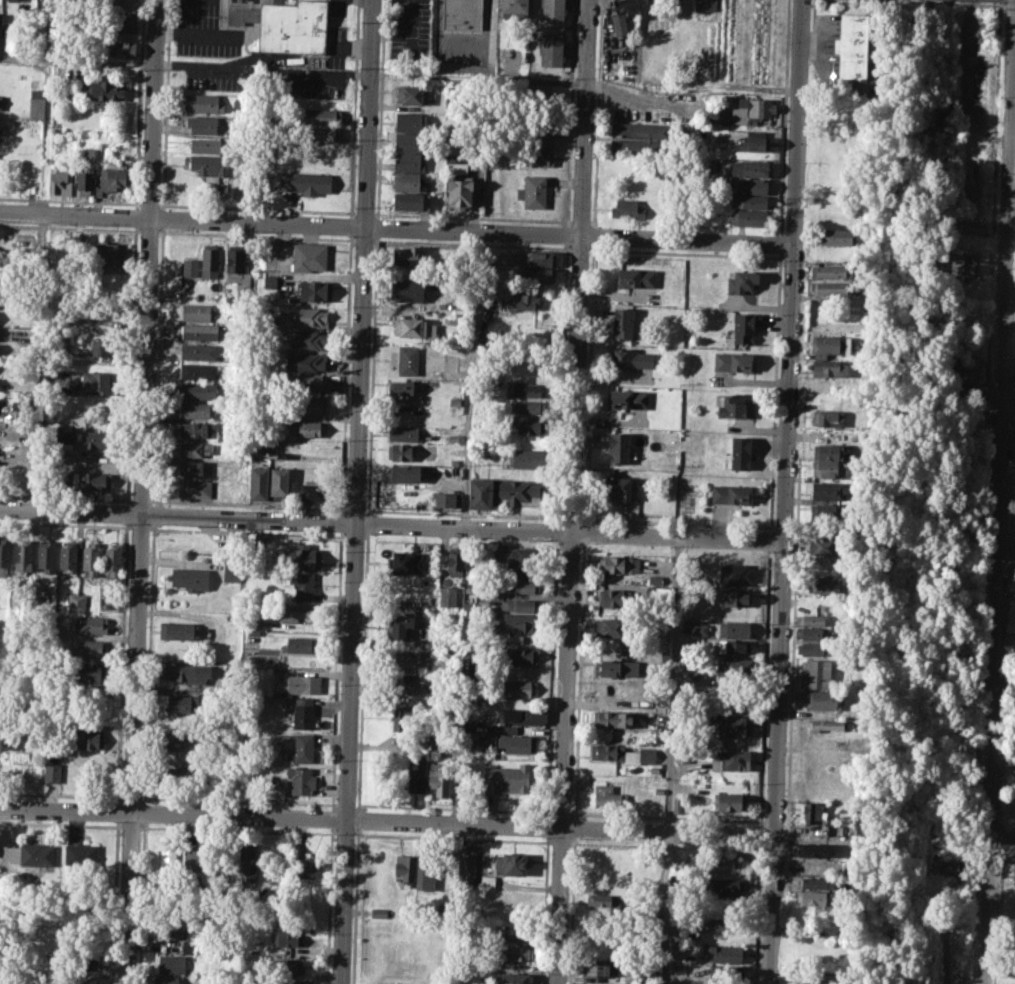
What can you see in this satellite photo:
building: (13, 0)
building: (705, 5)
building: (627, 6)
parking lot: (337, 7)
building: (514, 8)
building: (552, 9)
building: (462, 14)
building: (123, 20)
building: (619, 22)
building: (284, 25)
parking lot: (206, 27)
parking lot: (409, 35)
building: (852, 45)
parking lot: (336, 46)
building: (123, 48)
building: (551, 48)
road: (77, 60)
road: (263, 69)
parking lot: (269, 79)
road: (588, 85)
building: (61, 88)
building: (104, 90)
building: (536, 93)
building: (412, 95)
building: (0, 102)
building: (204, 102)
building: (37, 103)
road: (380, 108)
building: (757, 108)
building: (319, 115)
road: (784, 116)
building: (411, 121)
building: (203, 125)
building: (639, 130)
building: (323, 134)
building: (534, 140)
building: (409, 142)
building: (752, 142)
building: (205, 146)
building: (639, 147)
building: (90, 151)
road: (478, 155)
building: (534, 158)
building: (409, 162)
building: (632, 166)
building: (209, 167)
building: (457, 167)
building: (749, 167)
building: (84, 180)
building: (111, 180)
building: (57, 181)
building: (406, 181)
building: (304, 182)
building: (751, 185)
building: (533, 191)
building: (459, 193)
building: (408, 201)
building: (748, 201)
building: (627, 209)
building: (748, 217)
building: (974, 226)
road: (377, 227)
road: (397, 227)
building: (836, 236)
road: (780, 243)
road: (1011, 249)
building: (107, 253)
building: (409, 255)
building: (308, 257)
building: (539, 258)
building: (210, 260)
building: (190, 266)
building: (960, 266)
building: (829, 271)
building: (238, 273)
building: (540, 275)
building: (636, 277)
building: (269, 280)
building: (742, 281)
building: (831, 287)
building: (314, 289)
building: (410, 290)
building: (525, 300)
building: (197, 311)
building: (310, 316)
building: (622, 322)
building: (742, 327)
building: (414, 328)
building: (199, 331)
building: (311, 340)
building: (826, 345)
building: (102, 348)
building: (199, 351)
building: (408, 359)
building: (631, 359)
building: (307, 362)
building: (733, 362)
building: (828, 368)
building: (197, 371)
building: (959, 373)
road: (373, 375)
road: (468, 378)
building: (311, 381)
building: (95, 382)
building: (403, 387)
building: (525, 389)
building: (198, 390)
road: (775, 392)
building: (959, 392)
building: (627, 398)
building: (310, 405)
building: (528, 406)
building: (732, 406)
building: (196, 409)
building: (828, 418)
building: (530, 424)
building: (307, 428)
building: (197, 429)
building: (403, 433)
building: (64, 434)
building: (454, 437)
building: (92, 439)
building: (618, 447)
building: (194, 448)
building: (400, 451)
building: (828, 451)
building: (738, 454)
building: (527, 458)
building: (235, 463)
building: (191, 468)
building: (827, 468)
building: (311, 470)
building: (403, 473)
building: (279, 480)
building: (94, 481)
building: (258, 483)
building: (622, 487)
building: (193, 488)
building: (826, 490)
building: (312, 491)
road: (141, 492)
road: (358, 492)
road: (576, 492)
road: (785, 492)
building: (521, 493)
building: (481, 494)
building: (730, 494)
building: (444, 499)
road: (997, 504)
building: (825, 512)
road: (368, 522)
road: (392, 524)
road: (770, 540)
building: (824, 545)
road: (1005, 553)
building: (4, 554)
building: (22, 556)
building: (45, 556)
building: (68, 556)
building: (522, 556)
building: (302, 557)
building: (90, 558)
building: (112, 559)
building: (406, 562)
building: (455, 563)
building: (616, 563)
building: (232, 570)
building: (522, 573)
building: (735, 573)
building: (188, 578)
building: (822, 583)
building: (302, 585)
building: (526, 587)
building: (447, 596)
building: (734, 598)
building: (616, 599)
building: (76, 600)
building: (517, 604)
building: (295, 611)
building: (815, 616)
building: (253, 619)
building: (515, 621)
building: (93, 623)
building: (400, 626)
building: (614, 628)
building: (700, 629)
building: (734, 629)
building: (181, 630)
building: (810, 633)
building: (517, 639)
building: (301, 644)
building: (733, 647)
building: (90, 648)
building: (811, 648)
building: (521, 654)
building: (411, 660)
building: (612, 668)
building: (736, 669)
building: (179, 671)
road: (363, 671)
building: (90, 672)
building: (815, 673)
building: (296, 683)
building: (409, 684)
building: (519, 687)
road: (765, 687)
building: (613, 692)
building: (733, 699)
building: (822, 699)
building: (180, 704)
building: (659, 707)
building: (302, 713)
building: (524, 716)
building: (402, 718)
building: (612, 719)
building: (824, 724)
building: (732, 726)
building: (89, 738)
building: (181, 739)
building: (474, 741)
building: (519, 743)
building: (301, 748)
building: (622, 754)
road: (670, 759)
building: (733, 759)
building: (52, 772)
building: (416, 775)
building: (178, 776)
building: (439, 777)
building: (507, 777)
building: (300, 779)
building: (608, 795)
building: (730, 801)
building: (677, 804)
building: (812, 813)
road: (359, 818)
road: (385, 819)
building: (835, 829)
road: (760, 834)
road: (1001, 834)
building: (814, 847)
building: (36, 854)
building: (80, 854)
building: (193, 858)
building: (247, 862)
building: (167, 864)
building: (510, 864)
building: (465, 865)
building: (811, 866)
building: (944, 866)
building: (405, 871)
building: (426, 872)
building: (306, 873)
building: (1013, 875)
building: (487, 881)
building: (815, 882)
building: (726, 887)
building: (813, 897)
building: (602, 900)
road: (355, 905)
building: (379, 913)
building: (84, 915)
road: (757, 915)
building: (712, 922)
building: (171, 931)
building: (512, 932)
building: (286, 936)
building: (187, 944)
building: (517, 953)
building: (724, 953)
building: (80, 958)
building: (811, 959)
building: (170, 963)
building: (1012, 965)
building: (286, 966)
building: (600, 968)
building: (726, 973)
building: (631, 976)
building: (820, 976)
building: (513, 978)
building: (167, 980)
building: (297, 982)
building: (389, 983)
building: (597, 983)

